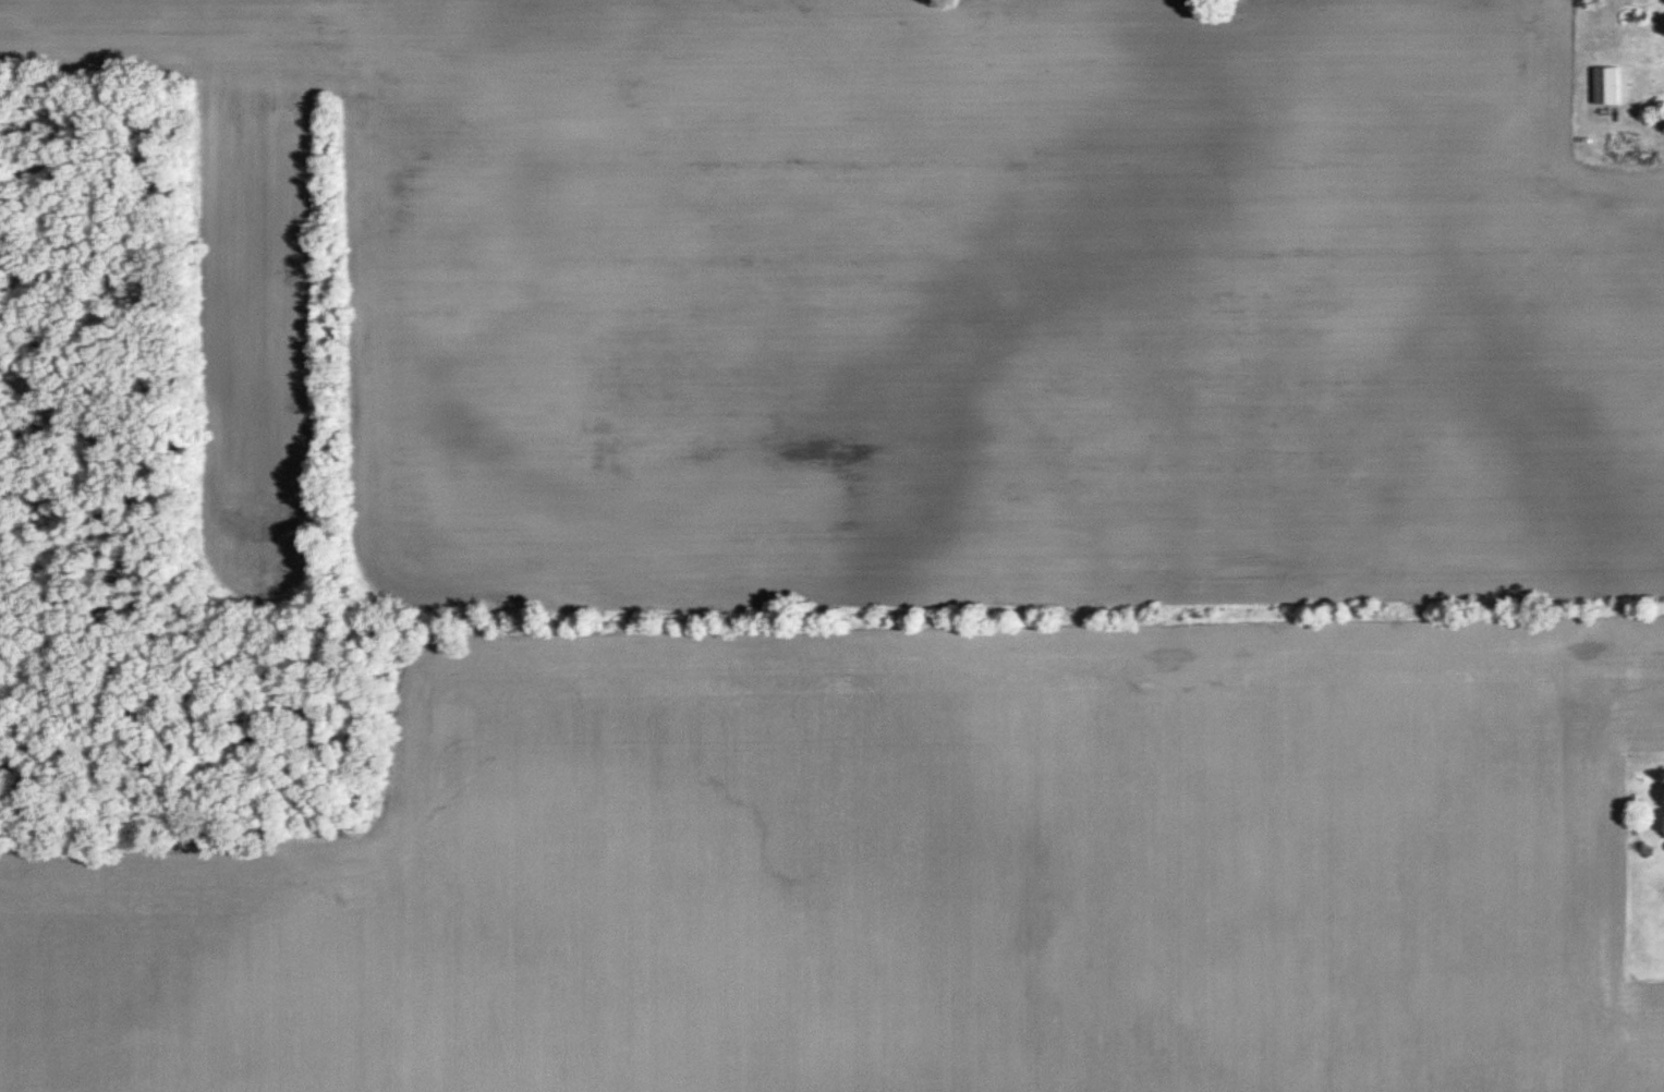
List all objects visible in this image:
building: (1603, 85)

